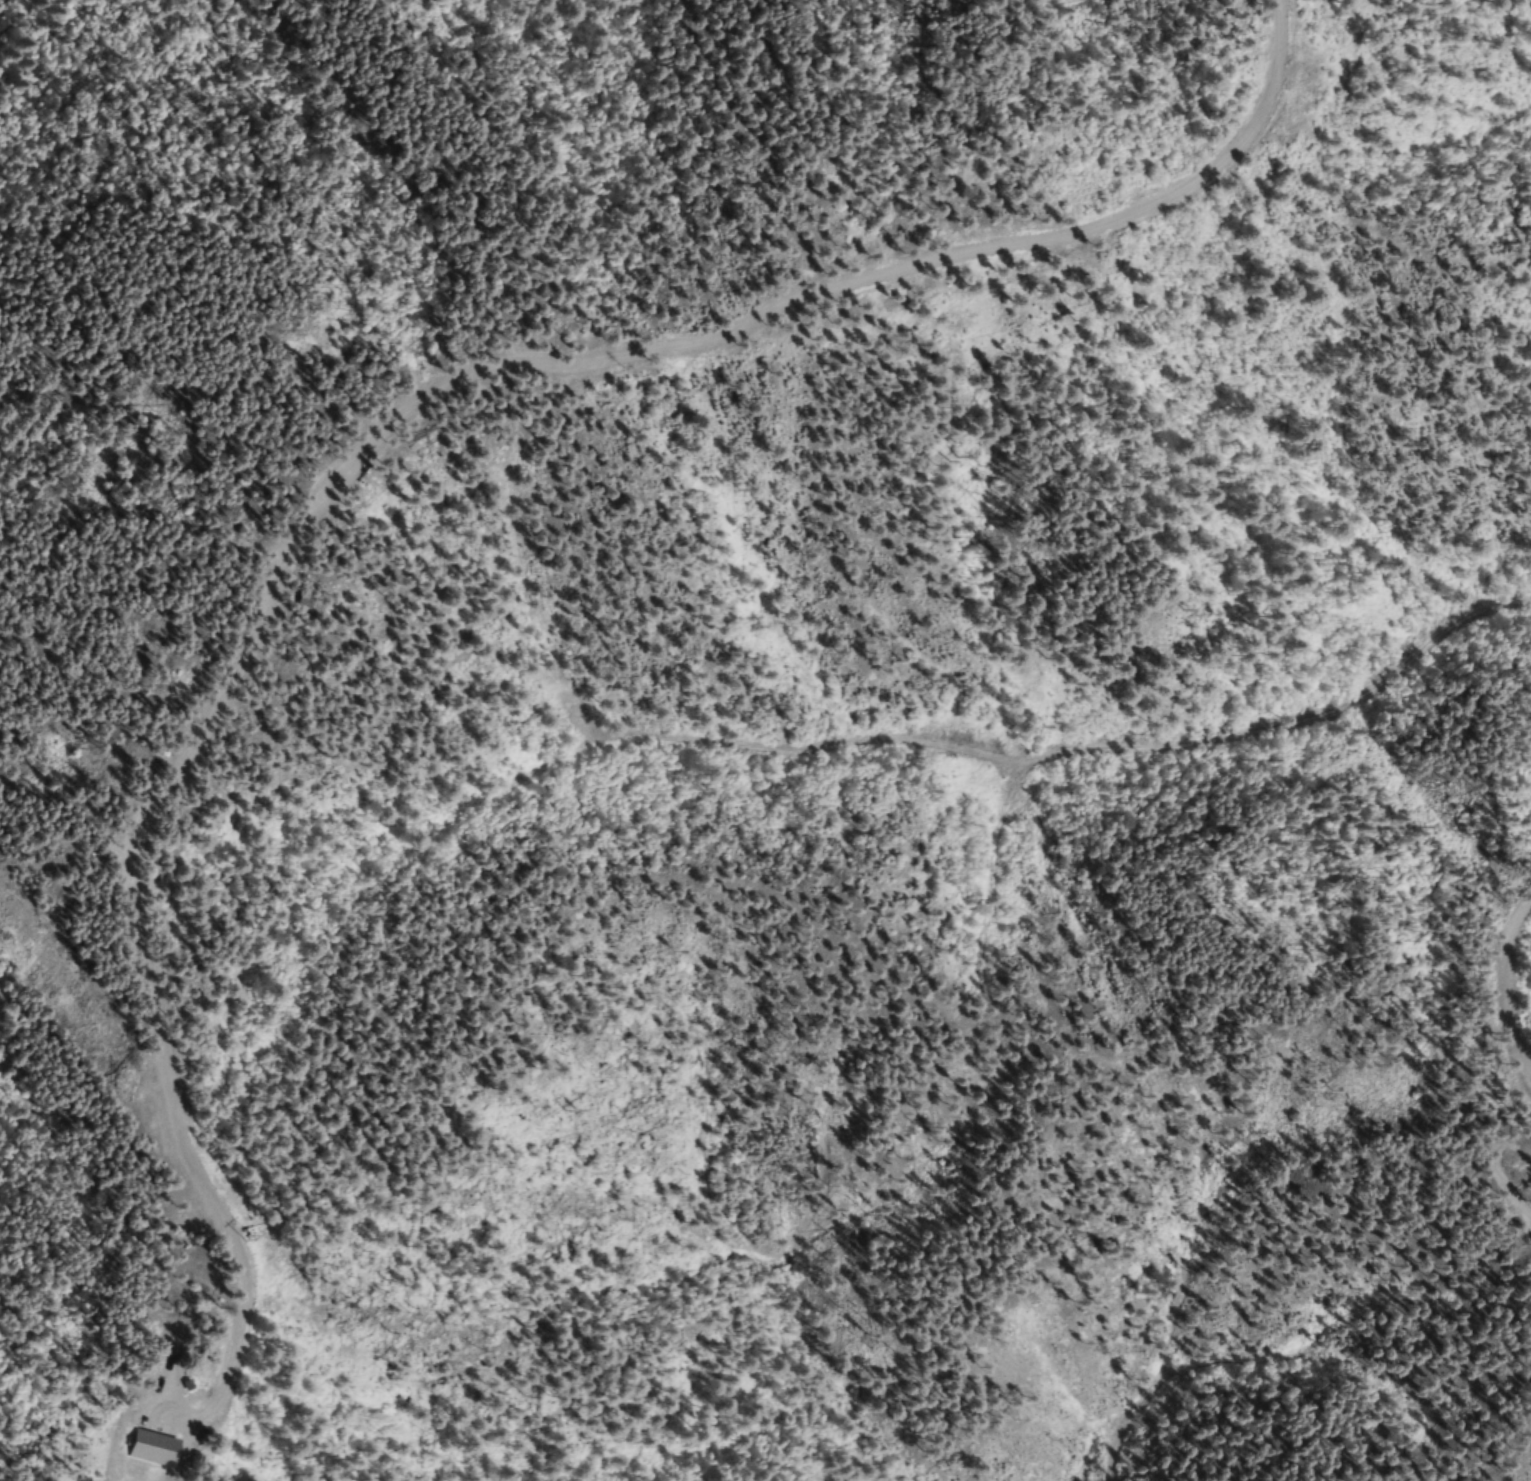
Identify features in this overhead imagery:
road: (381, 433)
building: (307, 600)
road: (1504, 978)
building: (157, 1449)

